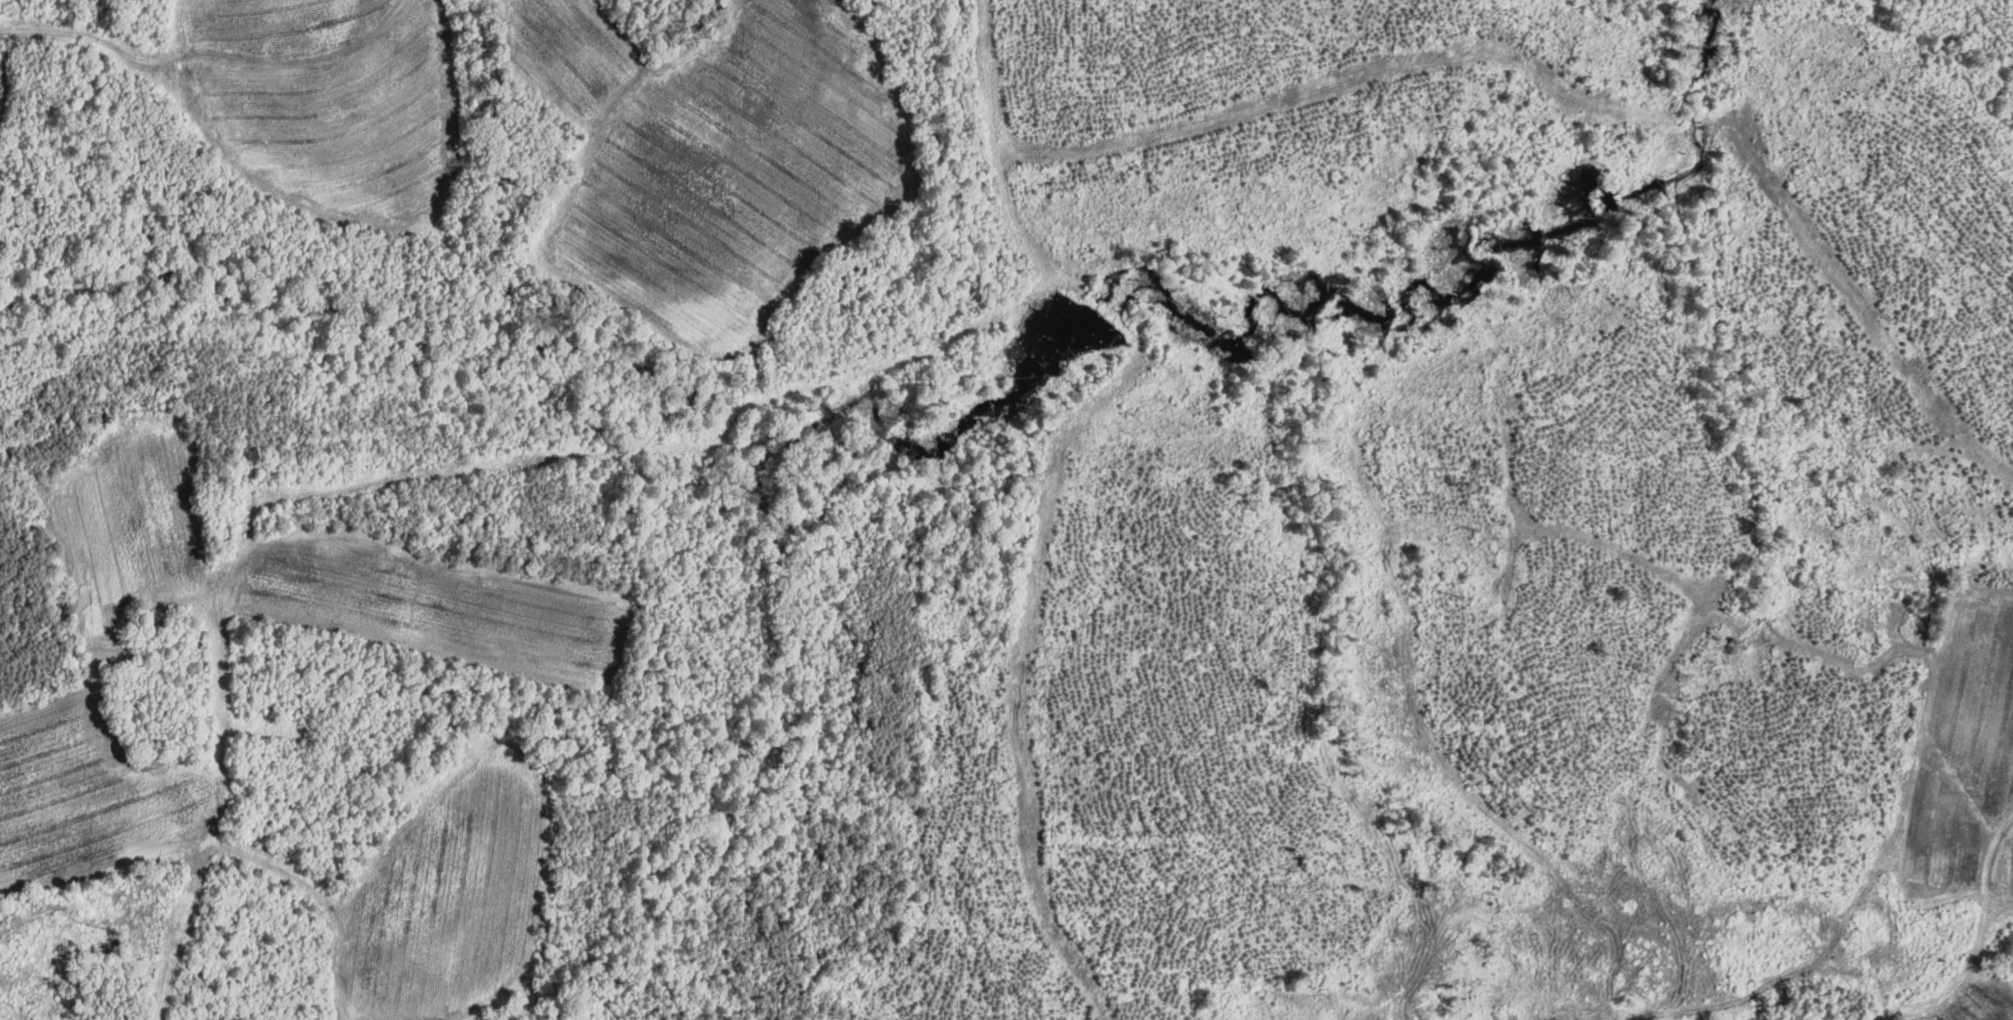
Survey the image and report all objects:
road: (1877, 1019)

